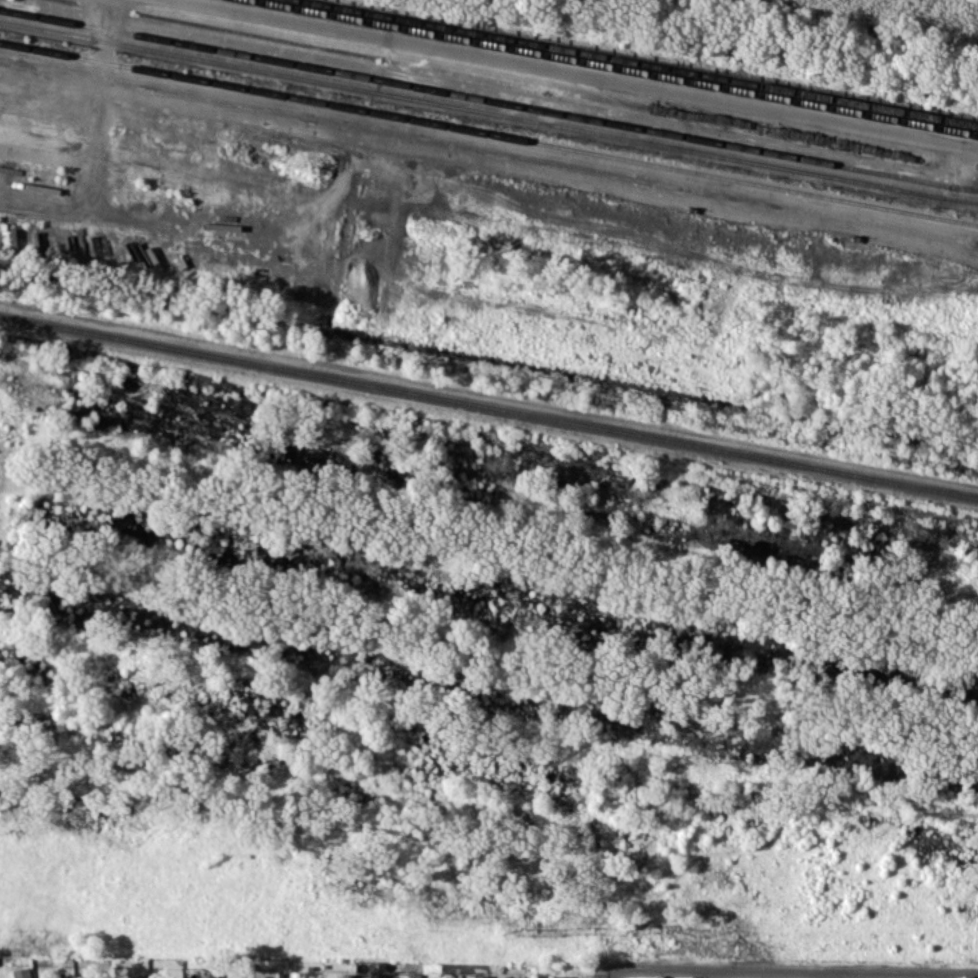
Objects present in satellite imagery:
railway: (640, 62)
railway: (612, 68)
road: (585, 73)
railway: (489, 99)
railway: (488, 112)
railway: (489, 134)
railway: (489, 402)
road: (790, 971)
building: (21, 972)
building: (310, 974)
road: (717, 974)
building: (343, 975)
building: (377, 975)
building: (414, 975)
road: (828, 975)
road: (942, 975)
building: (561, 976)
road: (604, 977)

